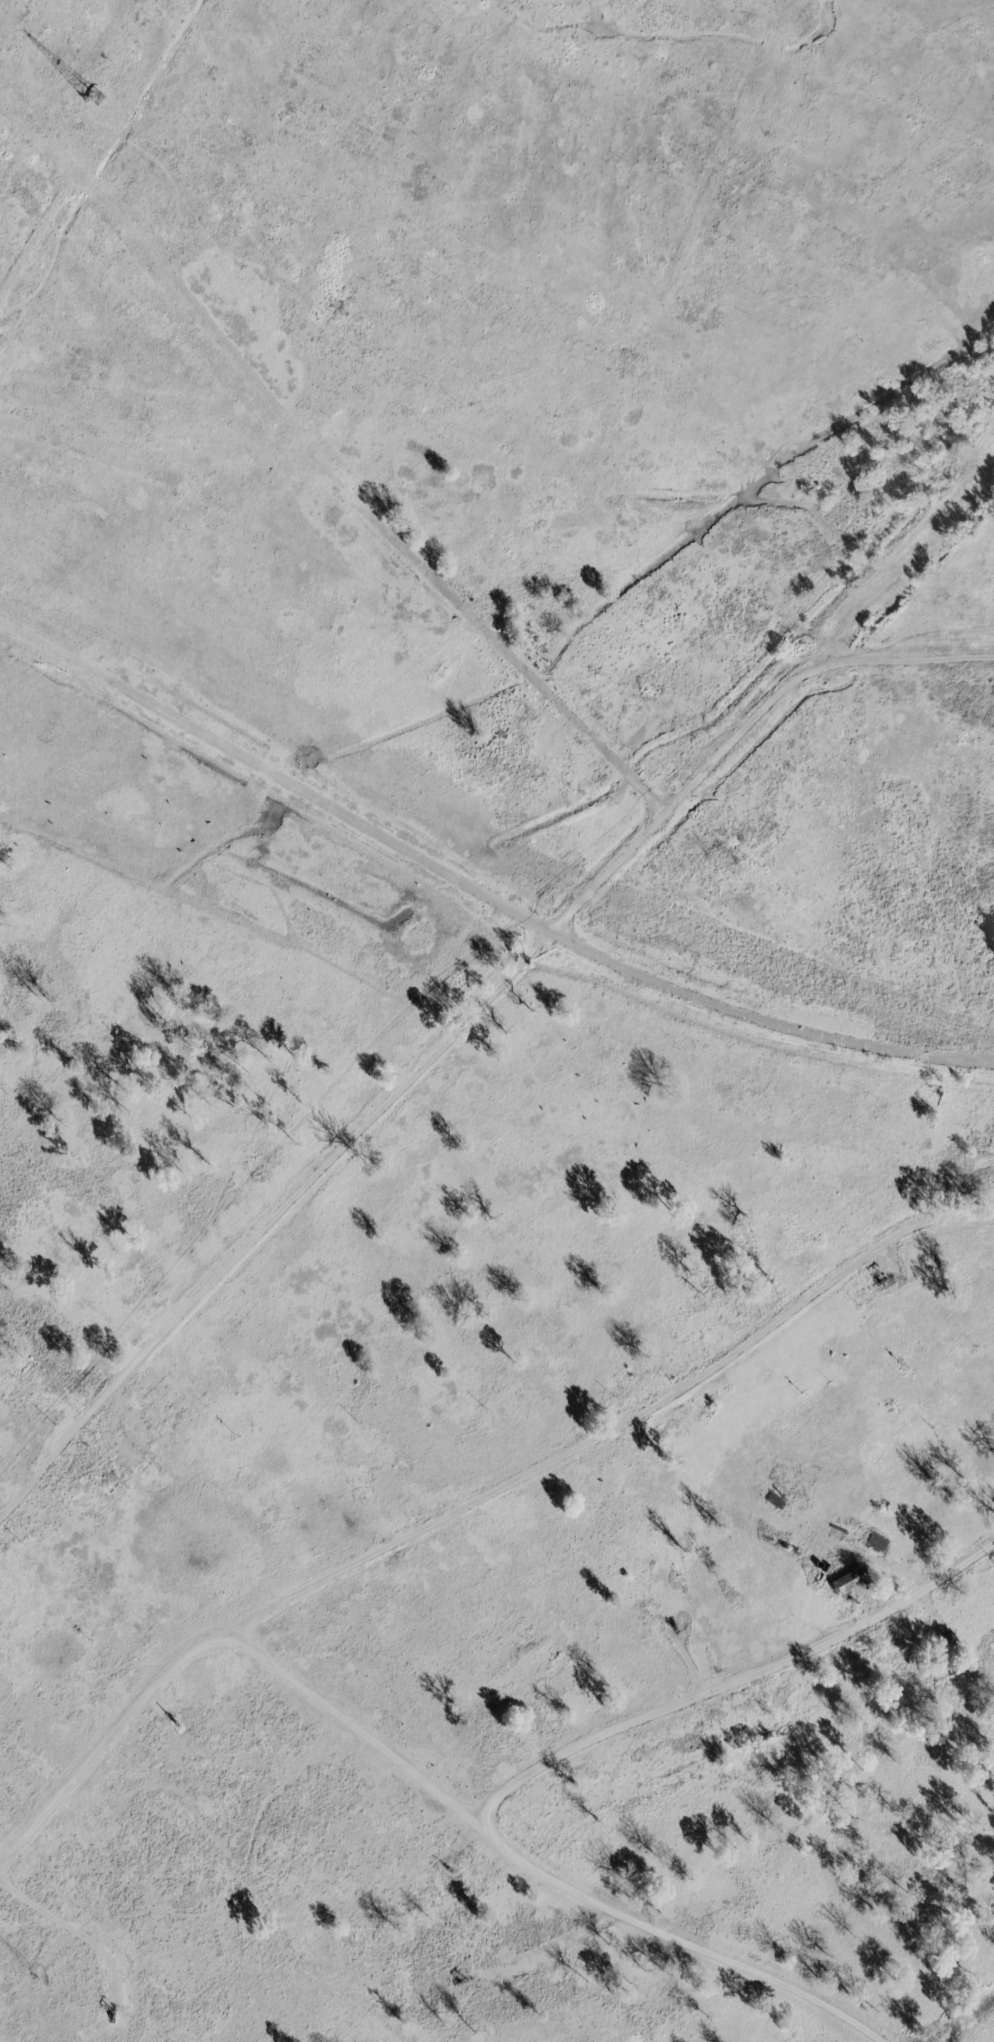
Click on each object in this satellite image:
road: (737, 730)
road: (406, 858)
road: (907, 1049)
road: (268, 1224)
building: (846, 1580)
road: (528, 1777)

